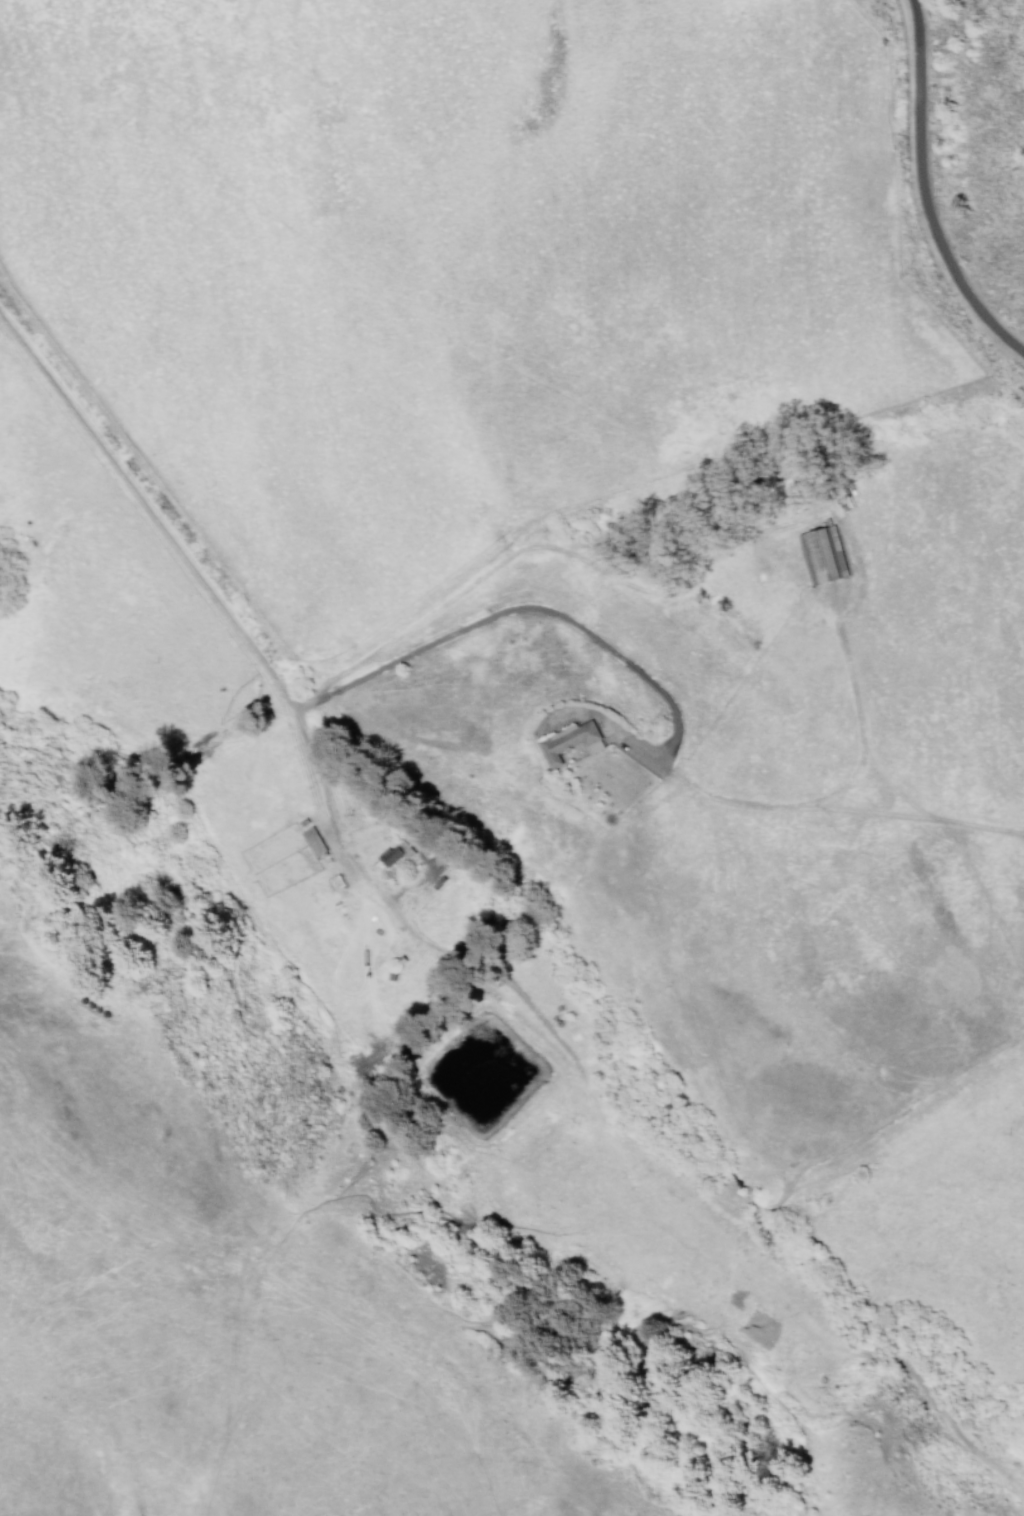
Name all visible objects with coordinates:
road: (926, 193)
road: (149, 515)
building: (814, 548)
road: (520, 610)
building: (564, 737)
road: (337, 839)
building: (313, 841)
building: (391, 854)
road: (575, 1065)
wastewater plant: (477, 1072)

